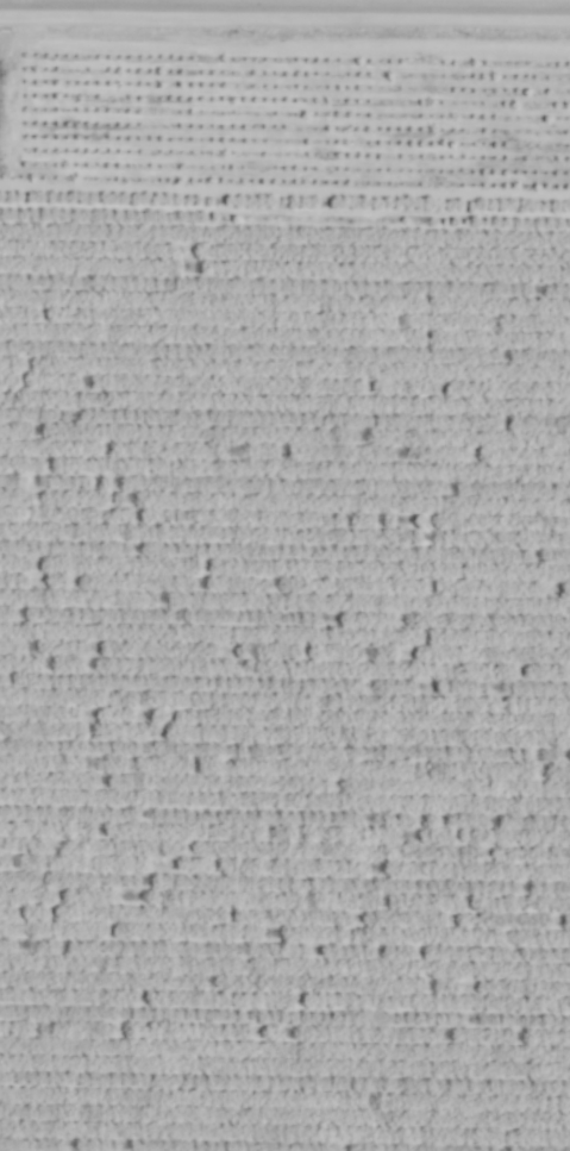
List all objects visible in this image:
crop: (284, 575)

